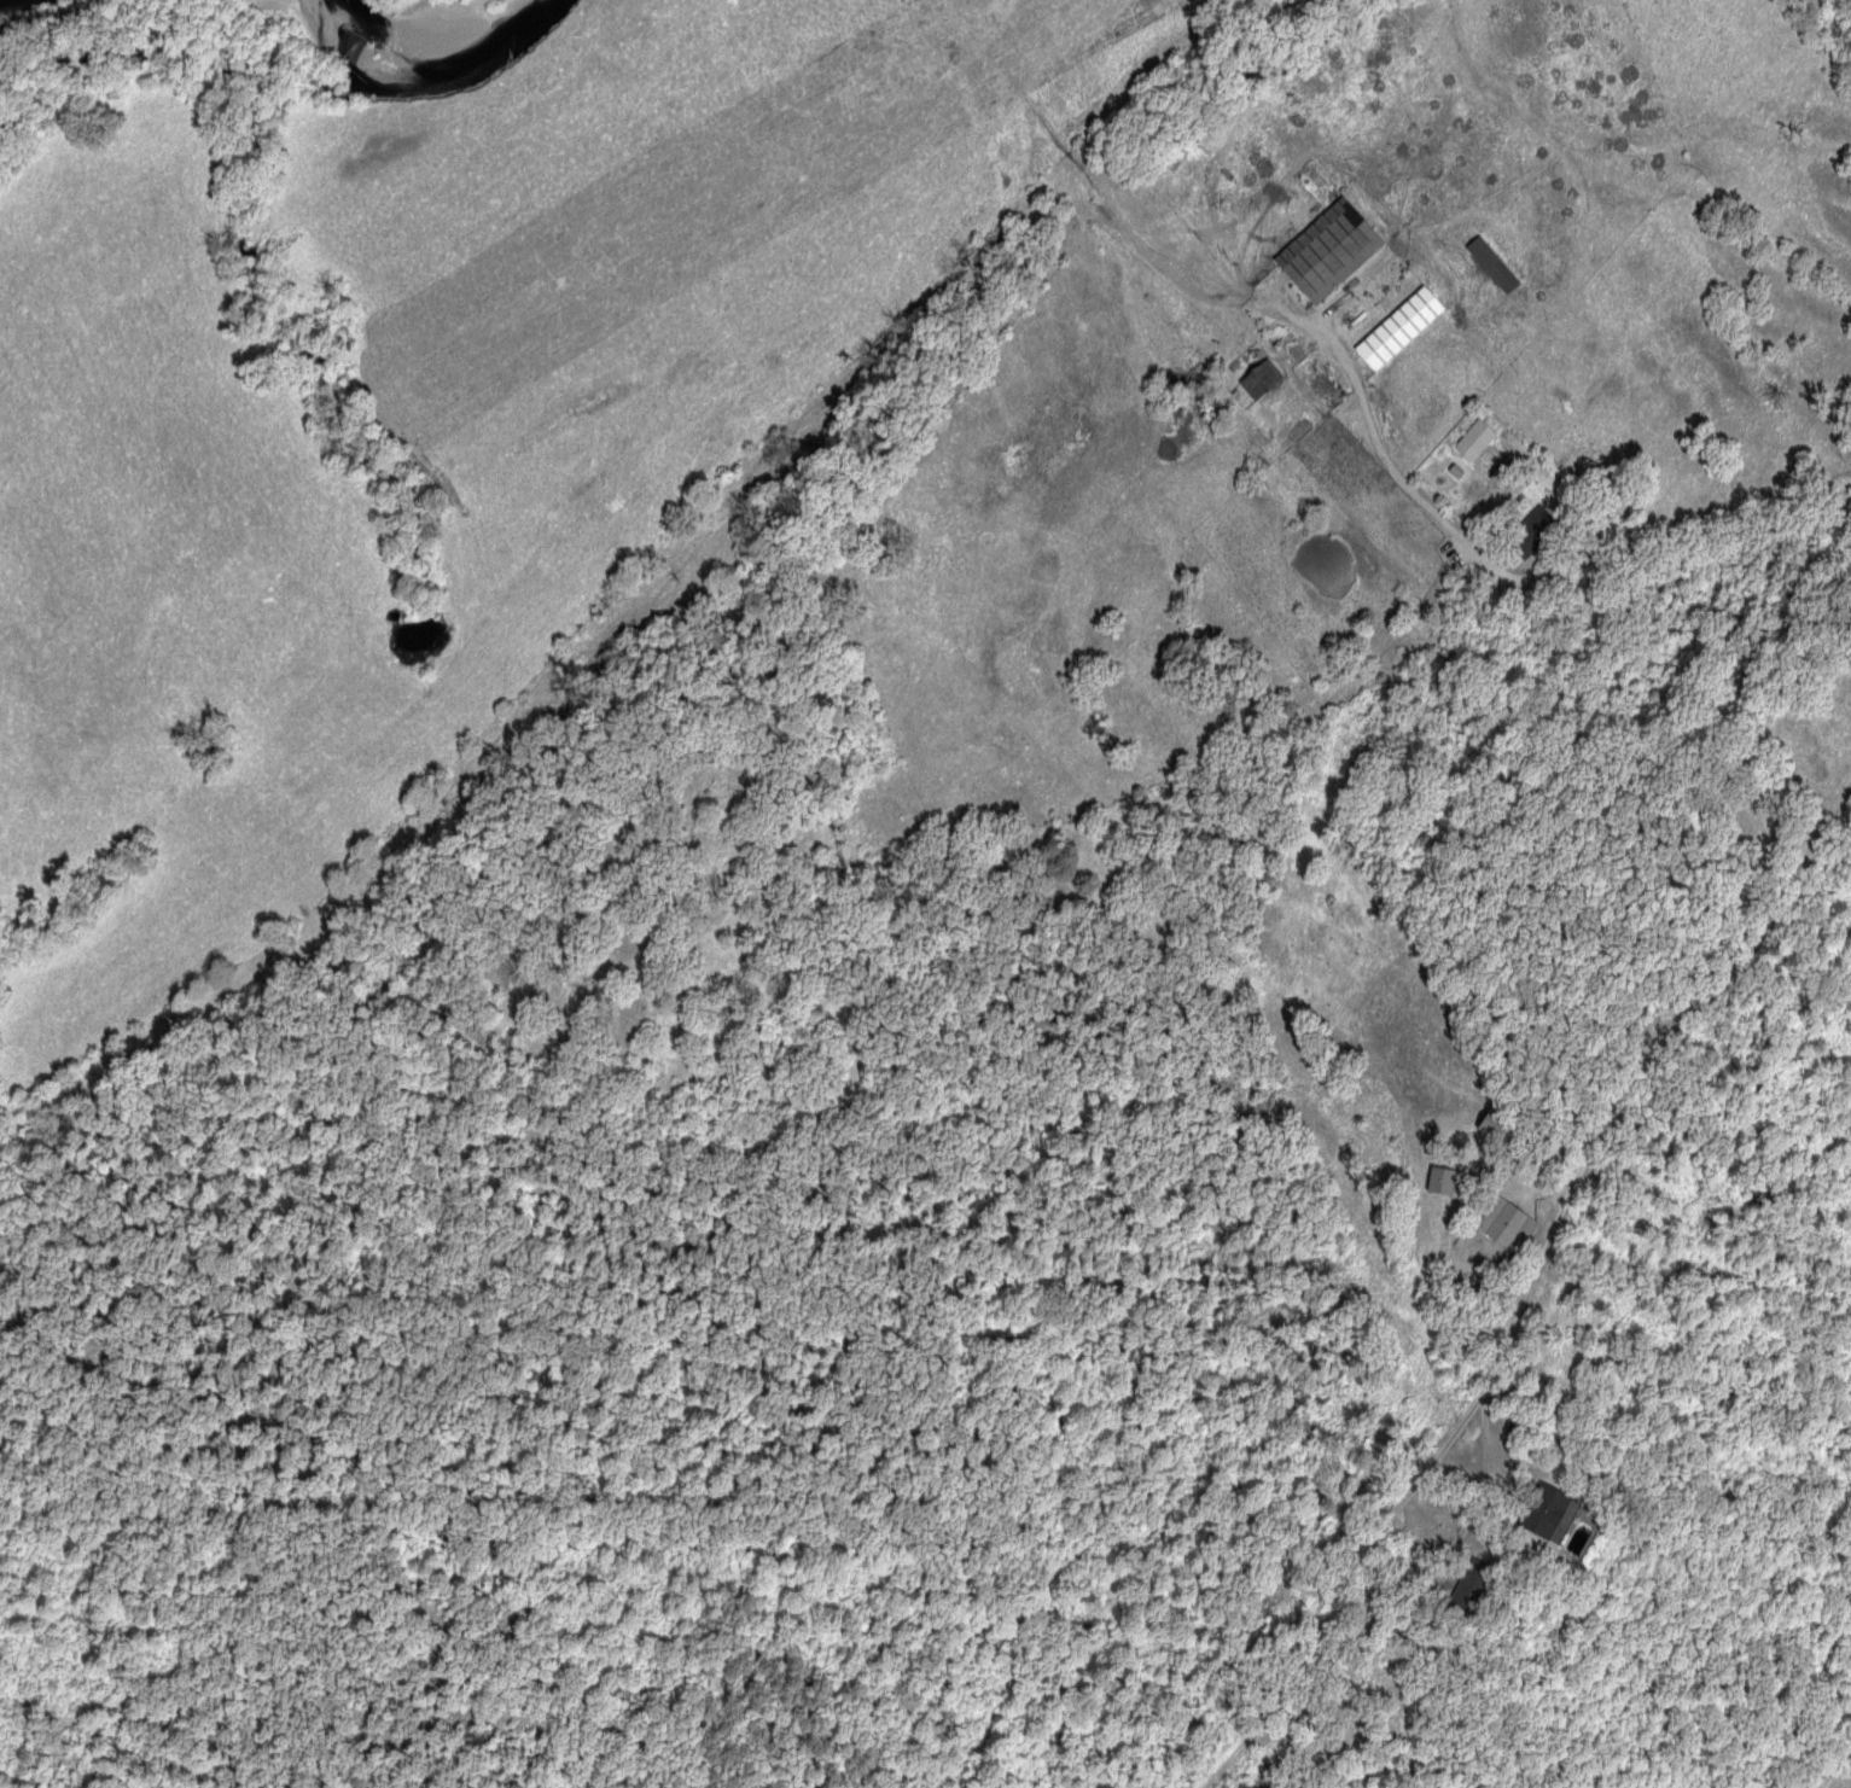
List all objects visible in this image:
river: (401, 64)
building: (1331, 250)
building: (1402, 327)
building: (1269, 372)
road: (1658, 437)
building: (1478, 438)
building: (1537, 530)
road: (1614, 567)
building: (1448, 1181)
building: (1511, 1224)
road: (1524, 1285)
building: (1550, 1510)

